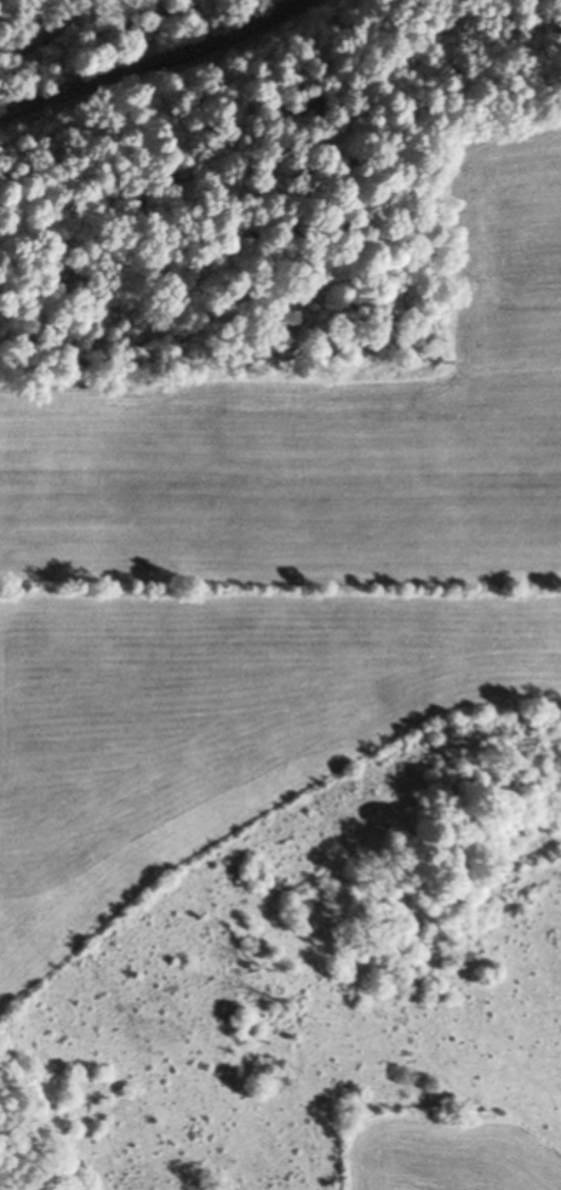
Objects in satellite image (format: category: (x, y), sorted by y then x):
road: (144, 62)

